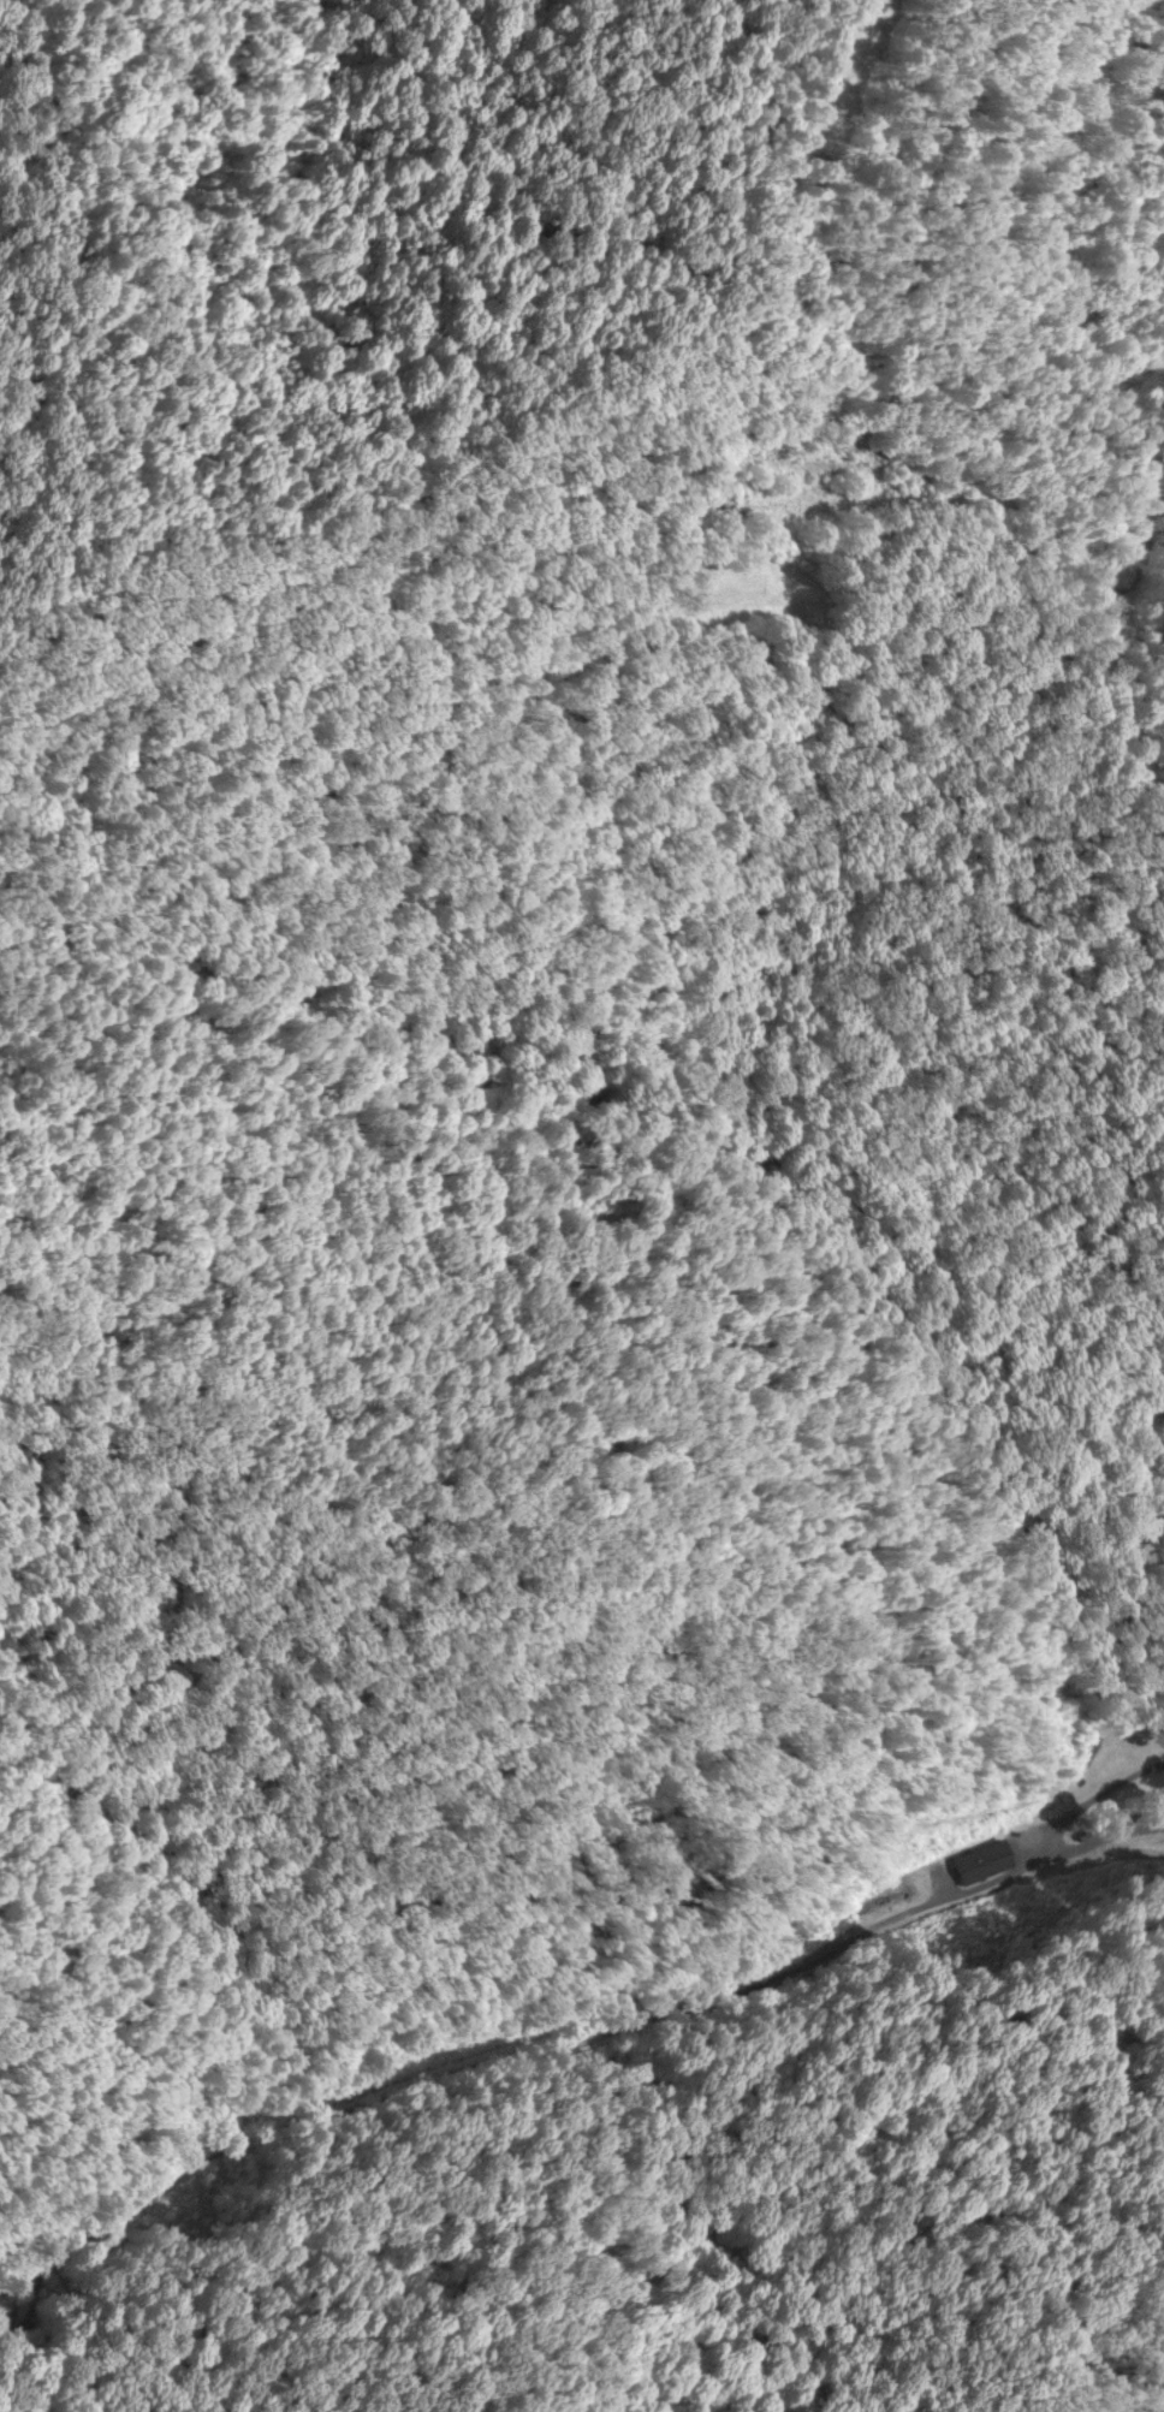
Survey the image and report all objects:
building: (972, 1861)

